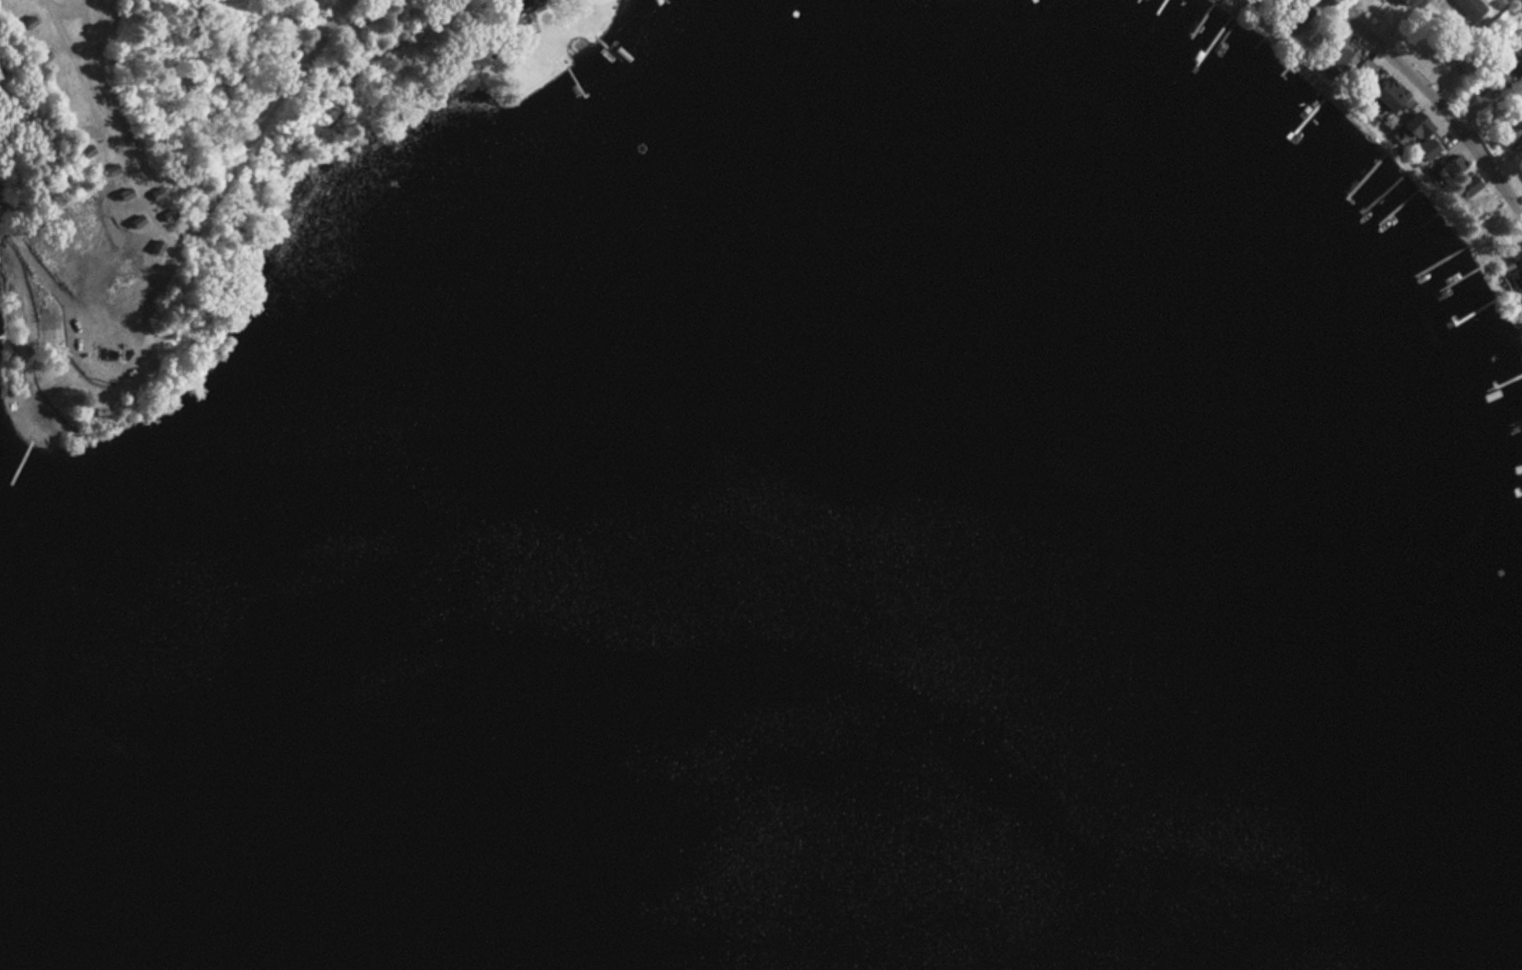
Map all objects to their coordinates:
building: (1393, 2)
building: (1465, 7)
building: (1336, 61)
building: (1514, 61)
building: (1358, 71)
building: (1381, 95)
road: (1430, 99)
building: (116, 124)
building: (1408, 127)
building: (1502, 135)
building: (1419, 150)
building: (1447, 168)
building: (1461, 190)
building: (1516, 281)
building: (75, 288)
building: (94, 351)

